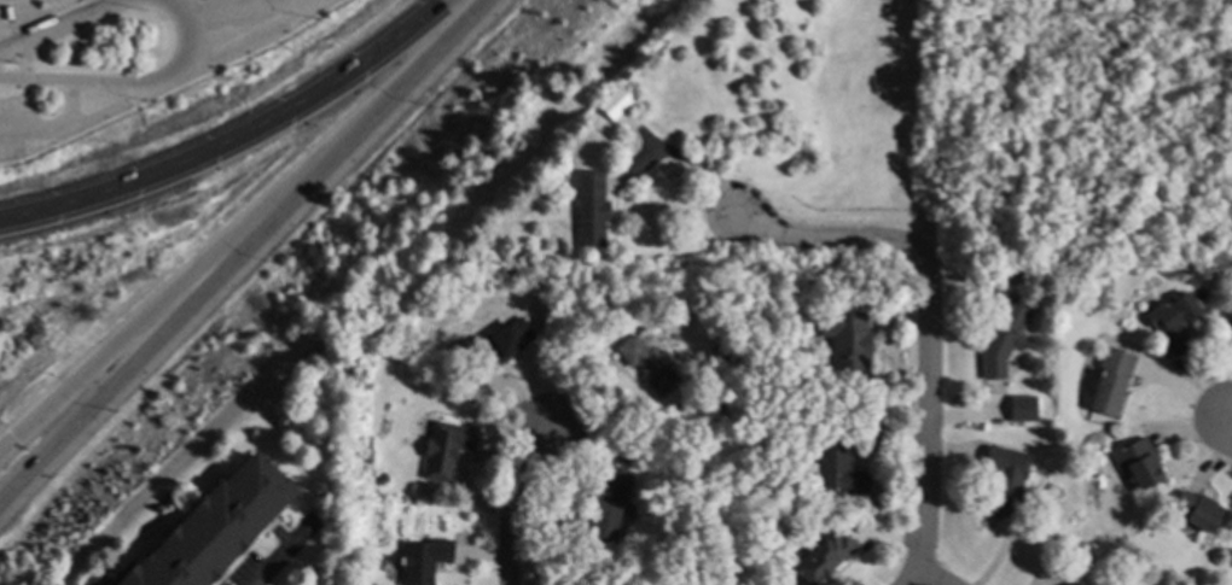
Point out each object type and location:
parking lot: (5, 0)
road: (220, 10)
building: (5, 13)
road: (65, 19)
road: (5, 24)
road: (4, 33)
road: (250, 35)
road: (8, 42)
road: (12, 43)
road: (21, 63)
road: (12, 74)
parking lot: (126, 77)
road: (25, 78)
road: (138, 78)
road: (27, 99)
road: (71, 100)
building: (614, 101)
road: (85, 117)
road: (367, 123)
park: (1086, 128)
road: (233, 136)
road: (713, 182)
building: (589, 209)
road: (841, 240)
building: (800, 311)
building: (1228, 320)
building: (395, 322)
building: (1172, 322)
building: (576, 326)
building: (1001, 337)
building: (845, 338)
building: (500, 343)
road: (120, 345)
building: (649, 364)
road: (120, 375)
building: (1109, 379)
building: (837, 404)
road: (925, 415)
building: (1018, 420)
road: (1225, 433)
building: (802, 434)
traffic signals: (16, 438)
building: (444, 447)
traffic signals: (41, 463)
building: (1138, 463)
building: (838, 469)
building: (378, 476)
building: (1003, 478)
road: (512, 499)
building: (608, 502)
building: (1197, 509)
building: (775, 523)
building: (213, 527)
building: (739, 536)
building: (821, 556)
road: (279, 558)
building: (423, 560)
building: (380, 563)
road: (920, 581)
road: (930, 581)
building: (1073, 583)

